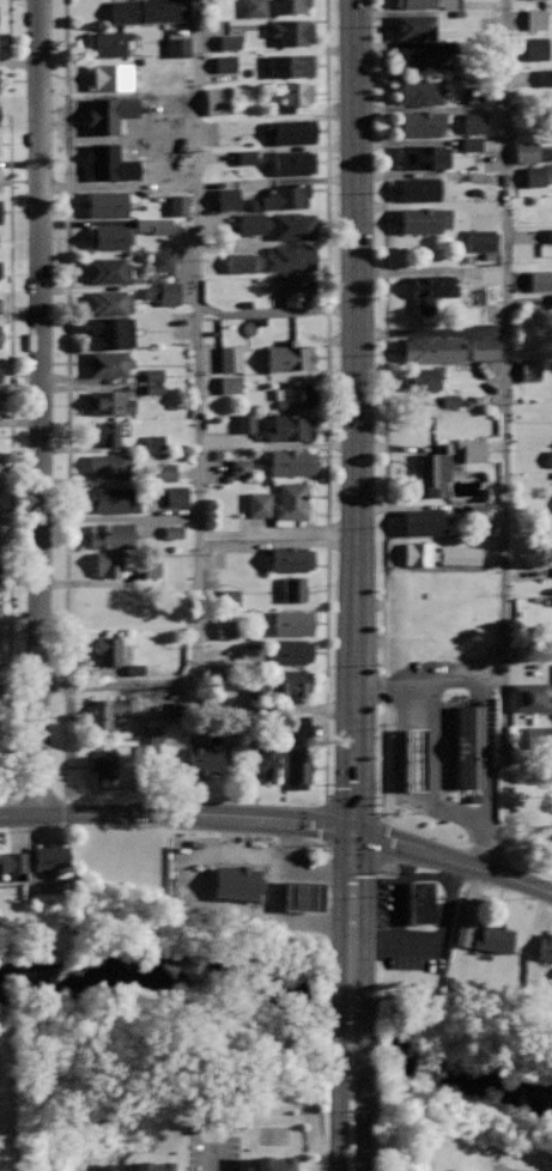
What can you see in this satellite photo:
building: (424, 2)
building: (290, 6)
building: (254, 7)
building: (145, 11)
building: (535, 18)
building: (414, 26)
building: (292, 31)
building: (229, 41)
building: (108, 43)
building: (177, 45)
building: (536, 48)
building: (419, 57)
building: (225, 63)
building: (291, 66)
building: (107, 74)
building: (546, 78)
building: (297, 92)
building: (421, 92)
building: (218, 101)
building: (107, 105)
building: (0, 113)
building: (474, 122)
building: (423, 123)
building: (292, 131)
building: (114, 139)
building: (471, 144)
building: (526, 152)
building: (245, 157)
building: (425, 157)
building: (293, 160)
building: (108, 169)
building: (534, 175)
building: (0, 180)
building: (419, 188)
building: (286, 195)
building: (228, 199)
building: (107, 202)
building: (177, 205)
building: (0, 213)
building: (424, 220)
building: (279, 224)
building: (153, 225)
building: (110, 237)
building: (480, 239)
building: (290, 257)
building: (162, 260)
building: (239, 262)
building: (0, 269)
building: (109, 269)
building: (540, 280)
building: (297, 289)
building: (431, 289)
building: (163, 292)
building: (113, 302)
building: (111, 332)
building: (0, 339)
building: (0, 345)
building: (484, 348)
building: (433, 350)
building: (290, 356)
building: (230, 358)
building: (109, 363)
building: (530, 370)
building: (0, 372)
building: (153, 380)
building: (425, 380)
building: (230, 384)
building: (296, 393)
road: (7, 400)
road: (62, 400)
building: (450, 400)
building: (111, 401)
road: (323, 401)
road: (505, 402)
road: (38, 408)
road: (353, 415)
building: (244, 423)
building: (291, 426)
building: (108, 432)
road: (199, 436)
building: (153, 441)
building: (473, 449)
building: (291, 461)
building: (110, 465)
building: (239, 467)
building: (435, 467)
building: (164, 472)
road: (381, 473)
building: (176, 496)
building: (116, 499)
building: (257, 504)
building: (290, 504)
building: (477, 510)
building: (424, 521)
building: (174, 532)
road: (275, 532)
building: (111, 534)
building: (429, 553)
building: (459, 556)
building: (292, 558)
building: (109, 563)
building: (151, 569)
building: (295, 589)
building: (229, 595)
building: (292, 621)
building: (225, 629)
building: (109, 650)
building: (278, 650)
building: (134, 669)
road: (432, 681)
building: (277, 682)
building: (528, 697)
building: (111, 710)
building: (298, 726)
building: (539, 736)
building: (469, 746)
building: (414, 758)
building: (205, 760)
building: (266, 760)
building: (103, 765)
building: (299, 770)
road: (8, 801)
road: (176, 815)
building: (54, 855)
road: (453, 860)
building: (12, 862)
building: (235, 887)
building: (302, 896)
building: (421, 902)
building: (462, 934)
building: (495, 939)
building: (545, 946)
river: (171, 982)
road: (353, 1001)
river: (353, 1024)
river: (460, 1057)
park: (273, 1134)
parking lot: (211, 1152)
road: (212, 1153)
building: (273, 1163)
building: (148, 1165)
parking lot: (504, 1169)

